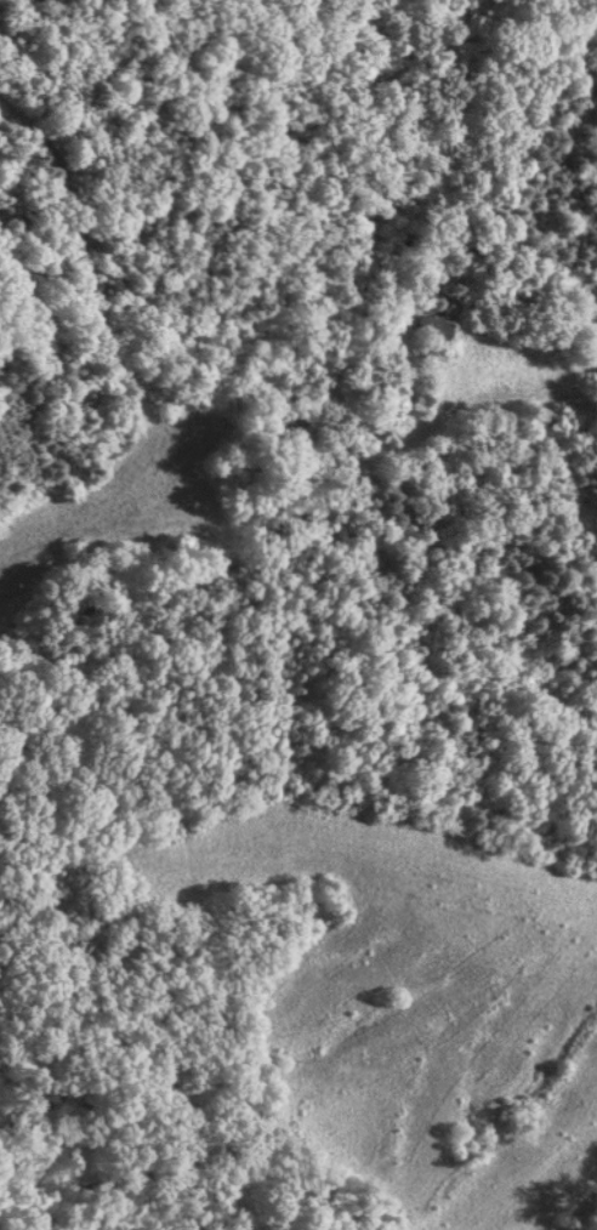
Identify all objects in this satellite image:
road: (109, 343)

